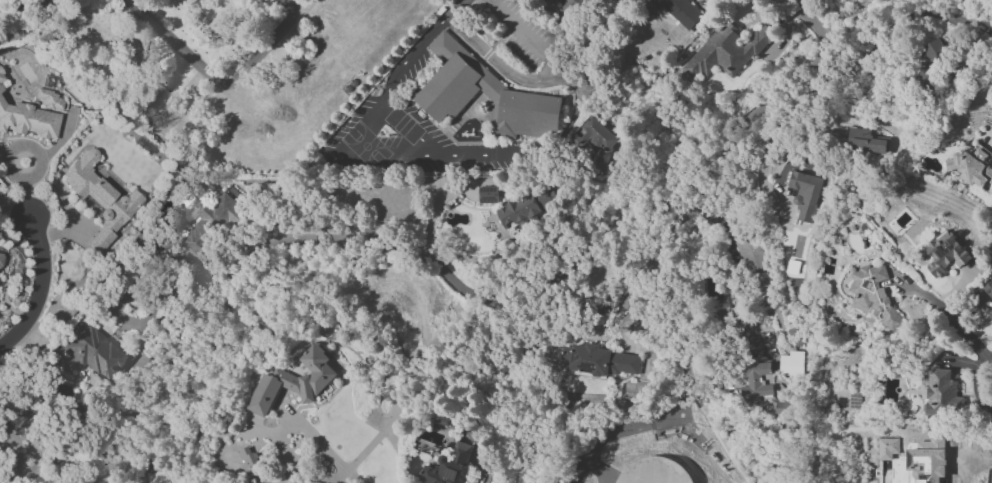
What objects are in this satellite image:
building: (543, 2)
building: (571, 3)
road: (456, 9)
building: (681, 11)
road: (810, 21)
road: (29, 22)
building: (724, 53)
park: (232, 64)
building: (931, 65)
building: (1, 75)
road: (537, 81)
road: (221, 82)
building: (486, 97)
building: (27, 120)
park: (403, 125)
road: (989, 135)
building: (597, 140)
building: (866, 141)
road: (356, 147)
park: (366, 147)
road: (454, 153)
building: (971, 167)
building: (805, 194)
building: (487, 195)
road: (699, 197)
building: (99, 198)
building: (192, 208)
building: (525, 210)
building: (212, 221)
building: (750, 254)
building: (945, 254)
building: (1, 258)
building: (762, 289)
building: (988, 289)
road: (39, 290)
building: (873, 295)
building: (990, 315)
road: (950, 319)
road: (667, 339)
building: (94, 351)
building: (599, 360)
building: (791, 364)
road: (987, 365)
building: (757, 380)
building: (295, 381)
building: (942, 393)
road: (626, 431)
road: (283, 436)
road: (986, 447)
building: (247, 457)
building: (927, 462)
road: (982, 465)
building: (449, 466)
road: (598, 469)
storage tank: (653, 471)
building: (654, 471)
road: (352, 478)

